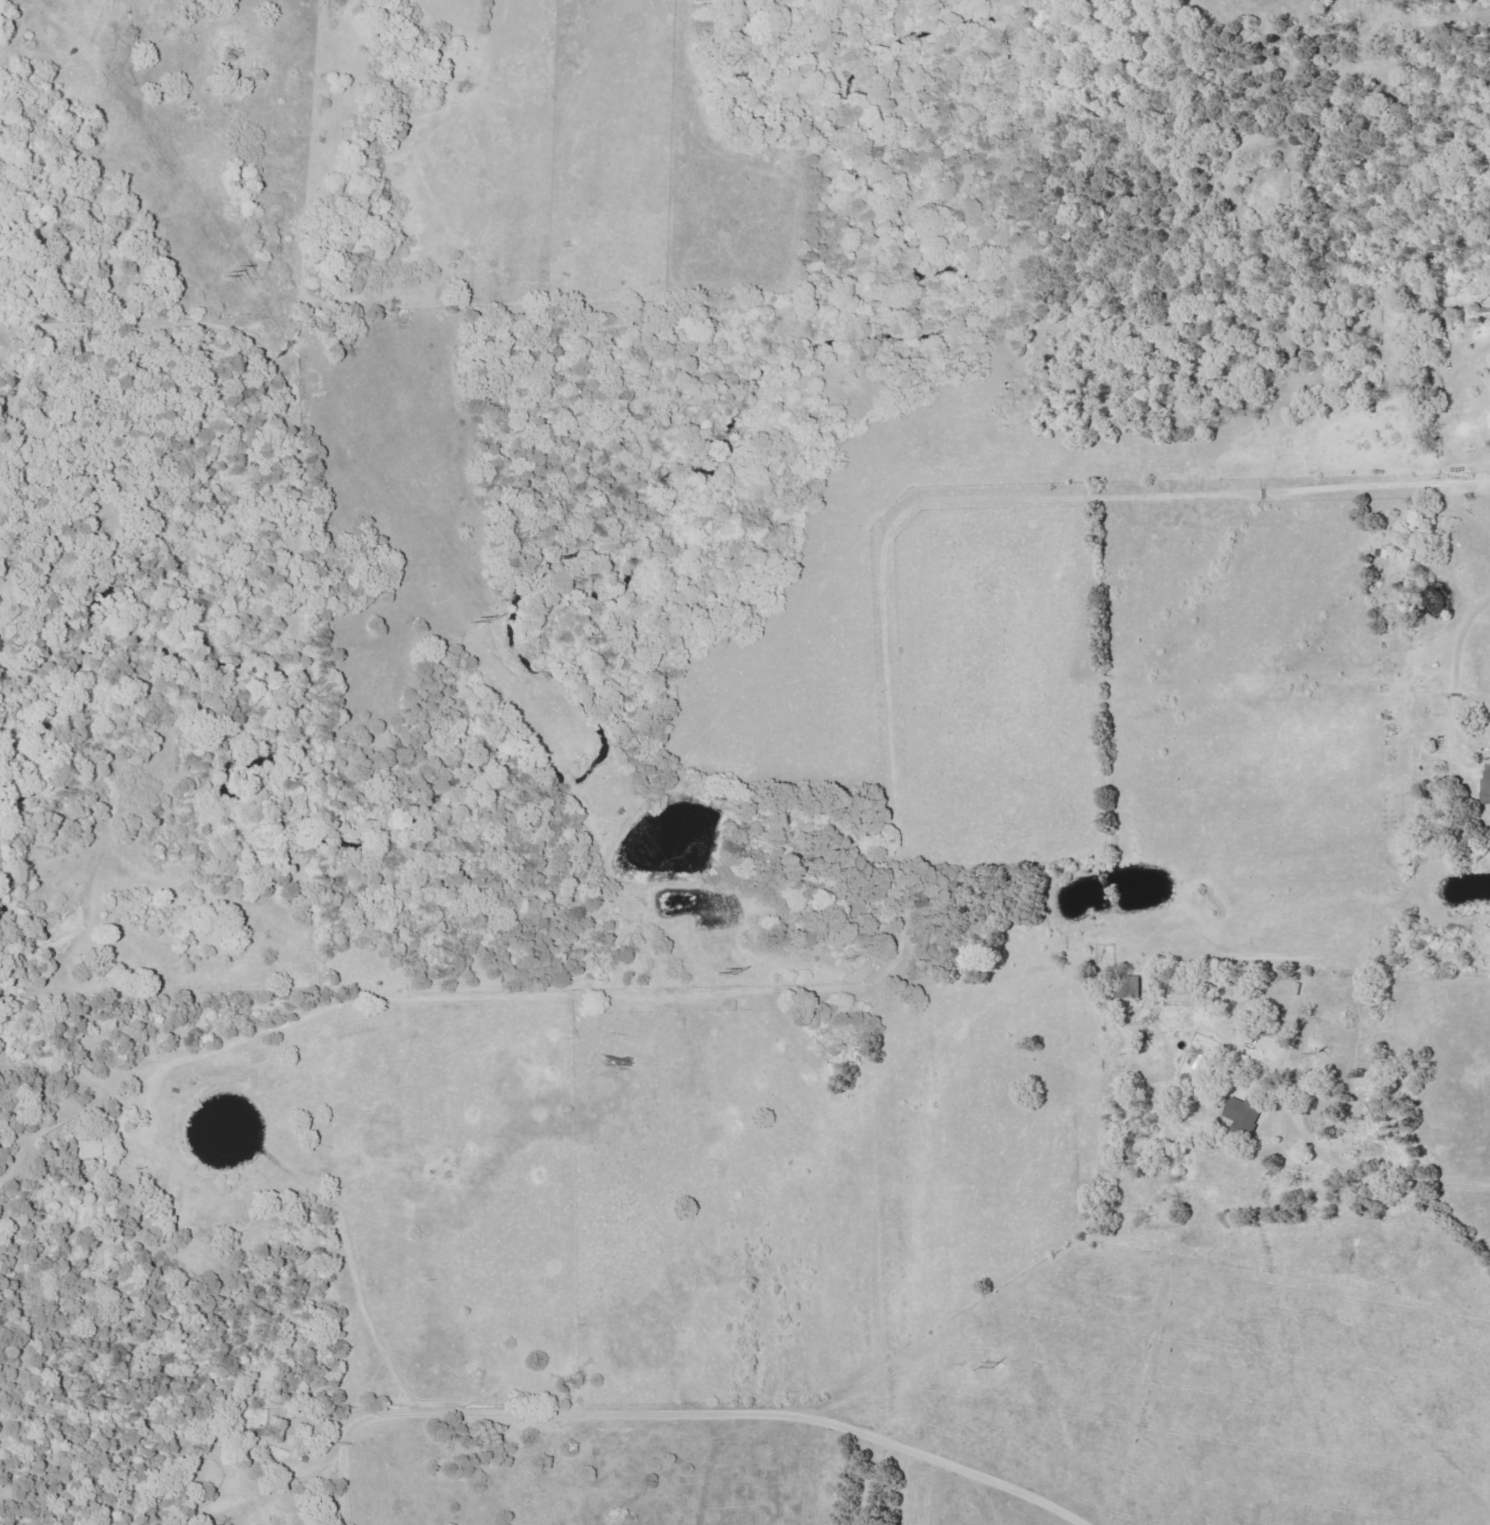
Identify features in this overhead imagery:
power tower: (233, 270)
building: (1405, 527)
power tower: (478, 621)
road: (1457, 680)
building: (1487, 780)
road: (895, 849)
power tower: (726, 973)
building: (1132, 987)
building: (1246, 1109)
building: (85, 1144)
road: (1394, 1177)
power tower: (1000, 1366)
road: (681, 1419)

